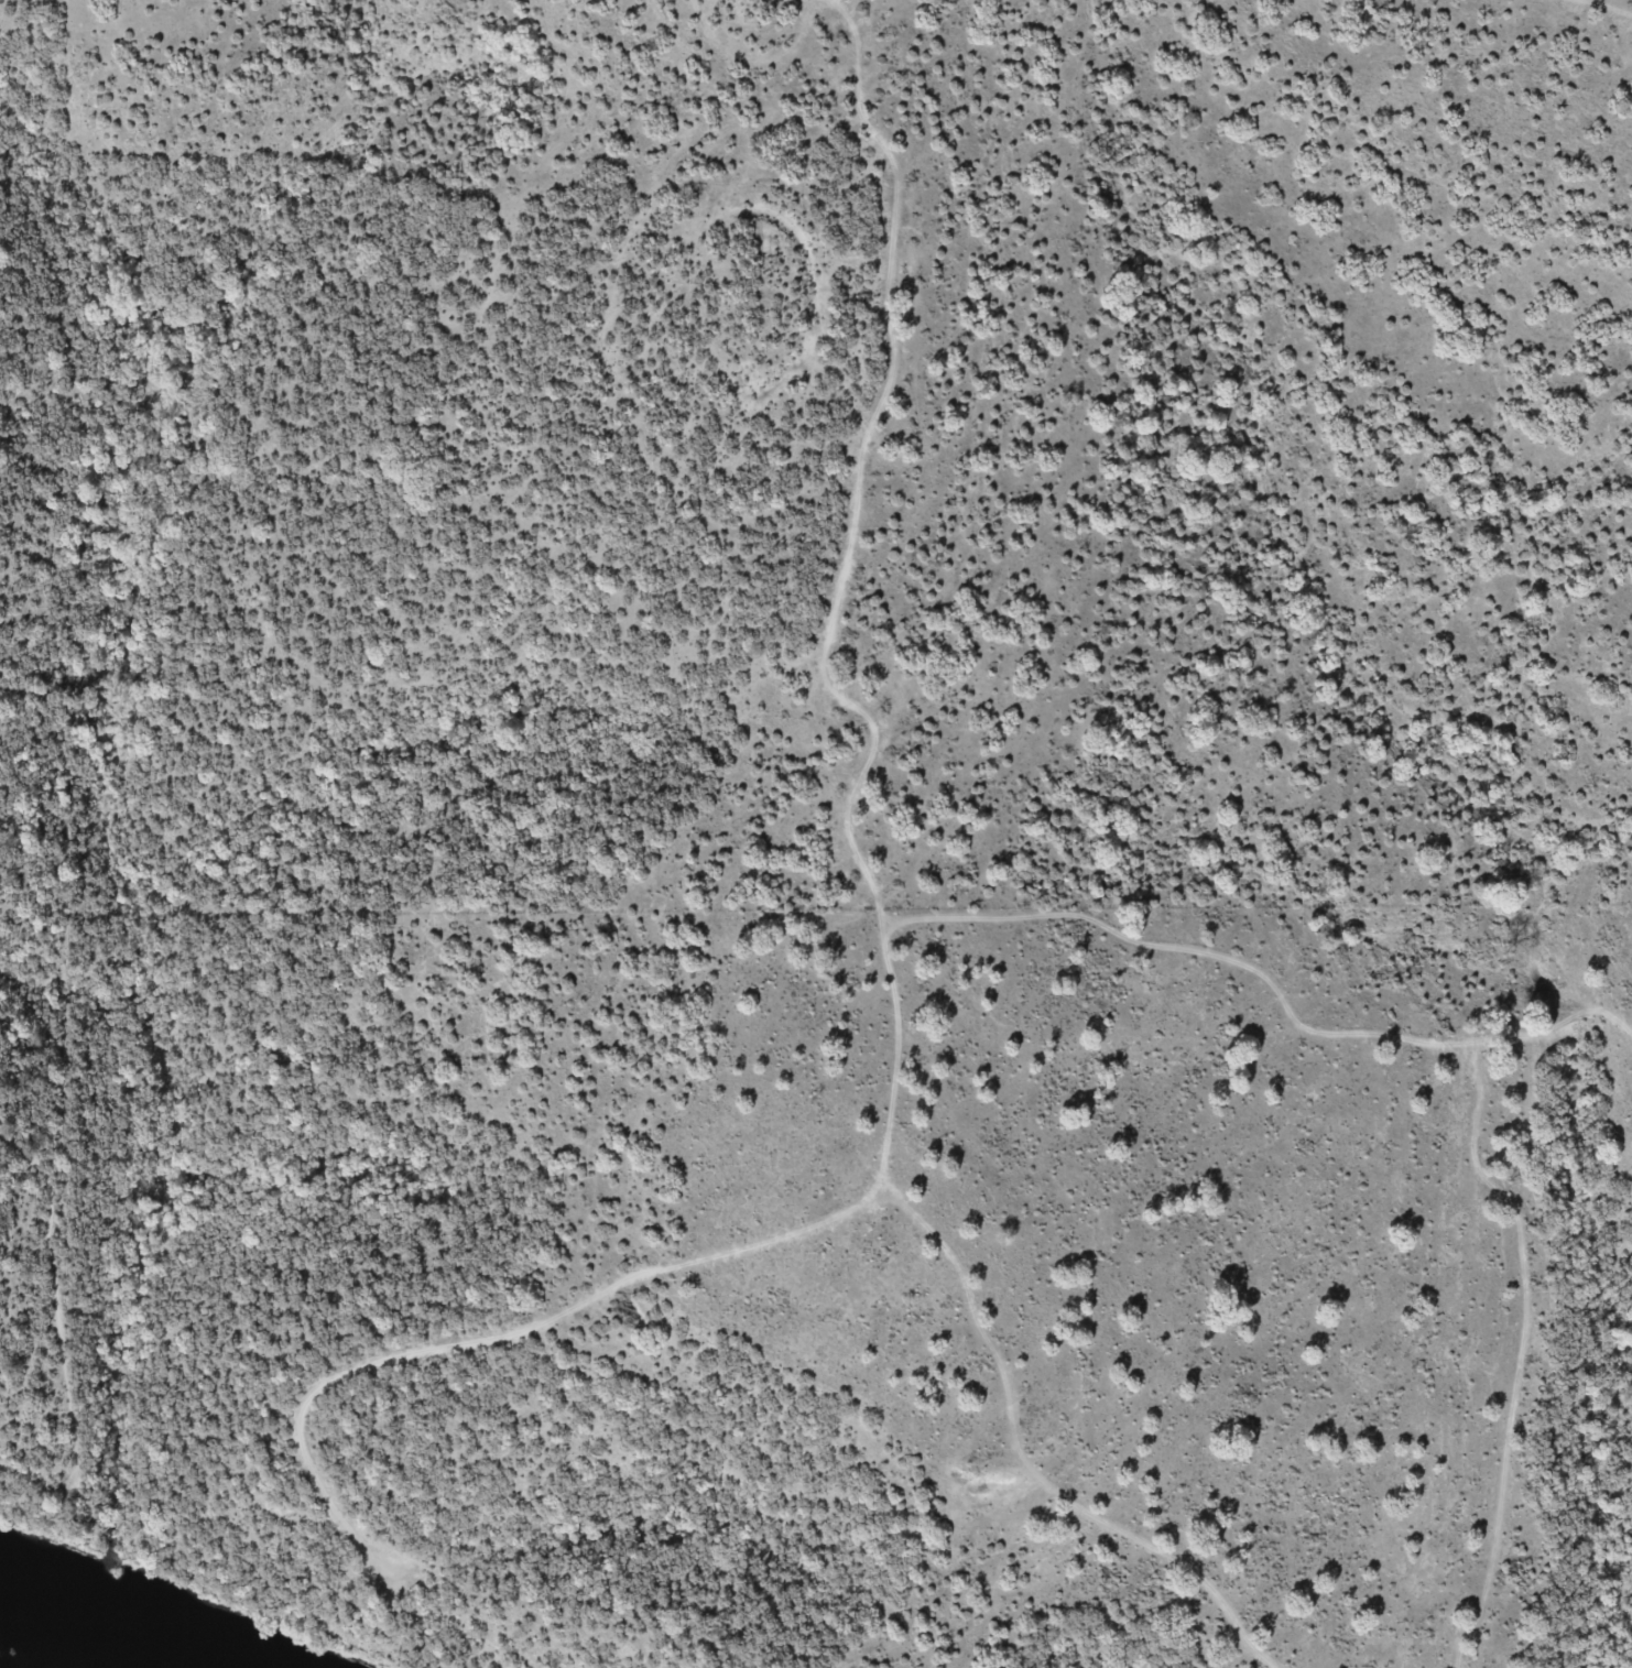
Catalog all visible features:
road: (772, 37)
road: (818, 887)
road: (1214, 1002)
road: (1411, 1362)
river: (90, 1626)

